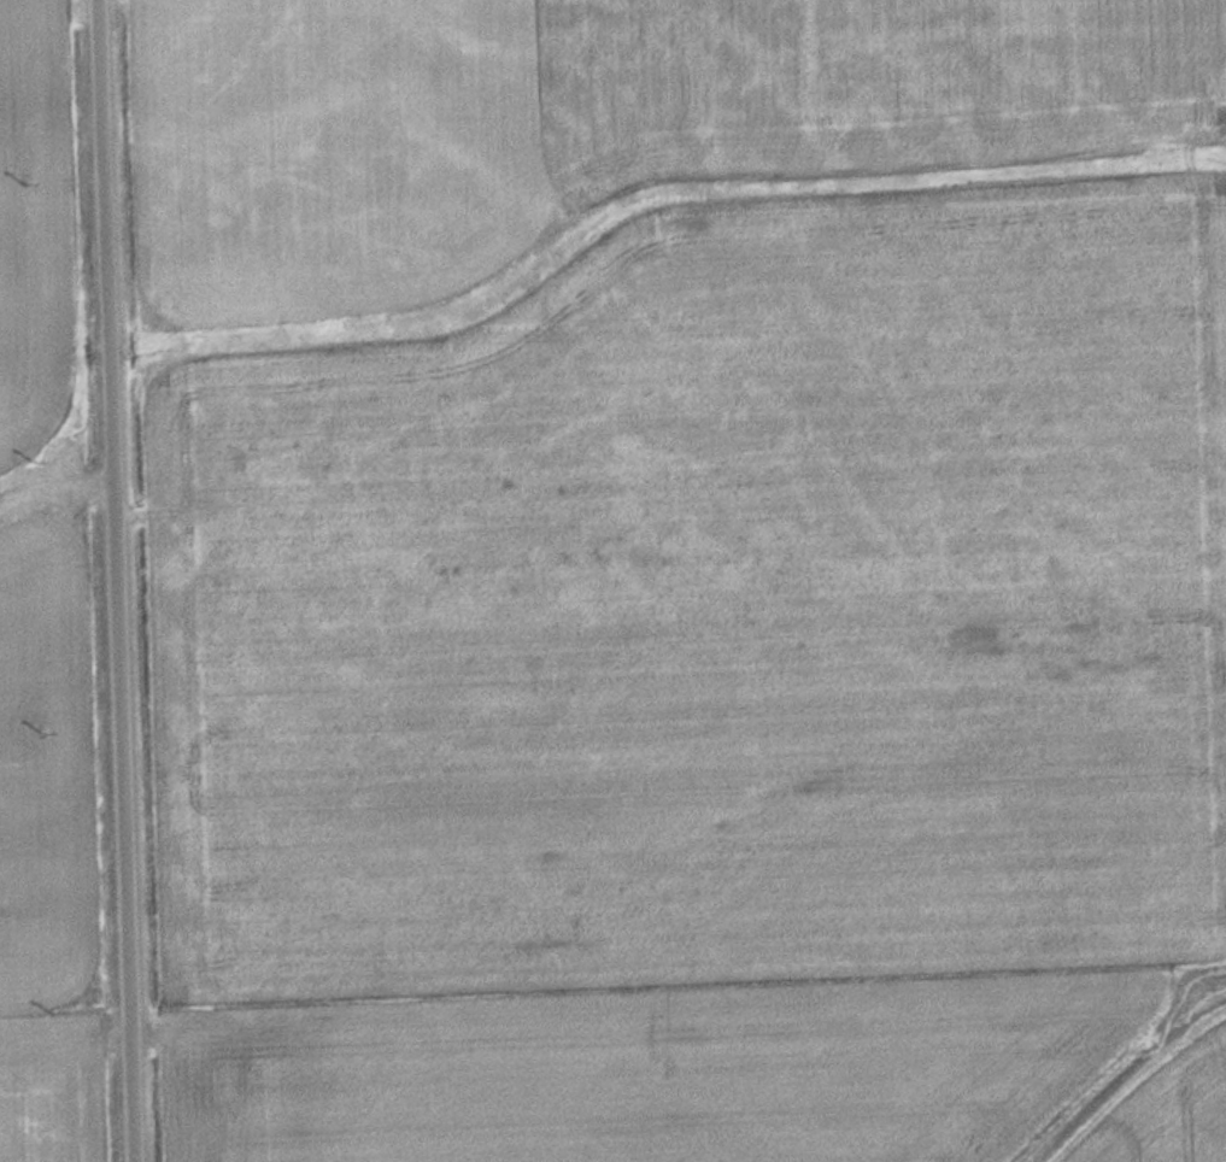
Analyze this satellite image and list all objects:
road: (119, 580)

